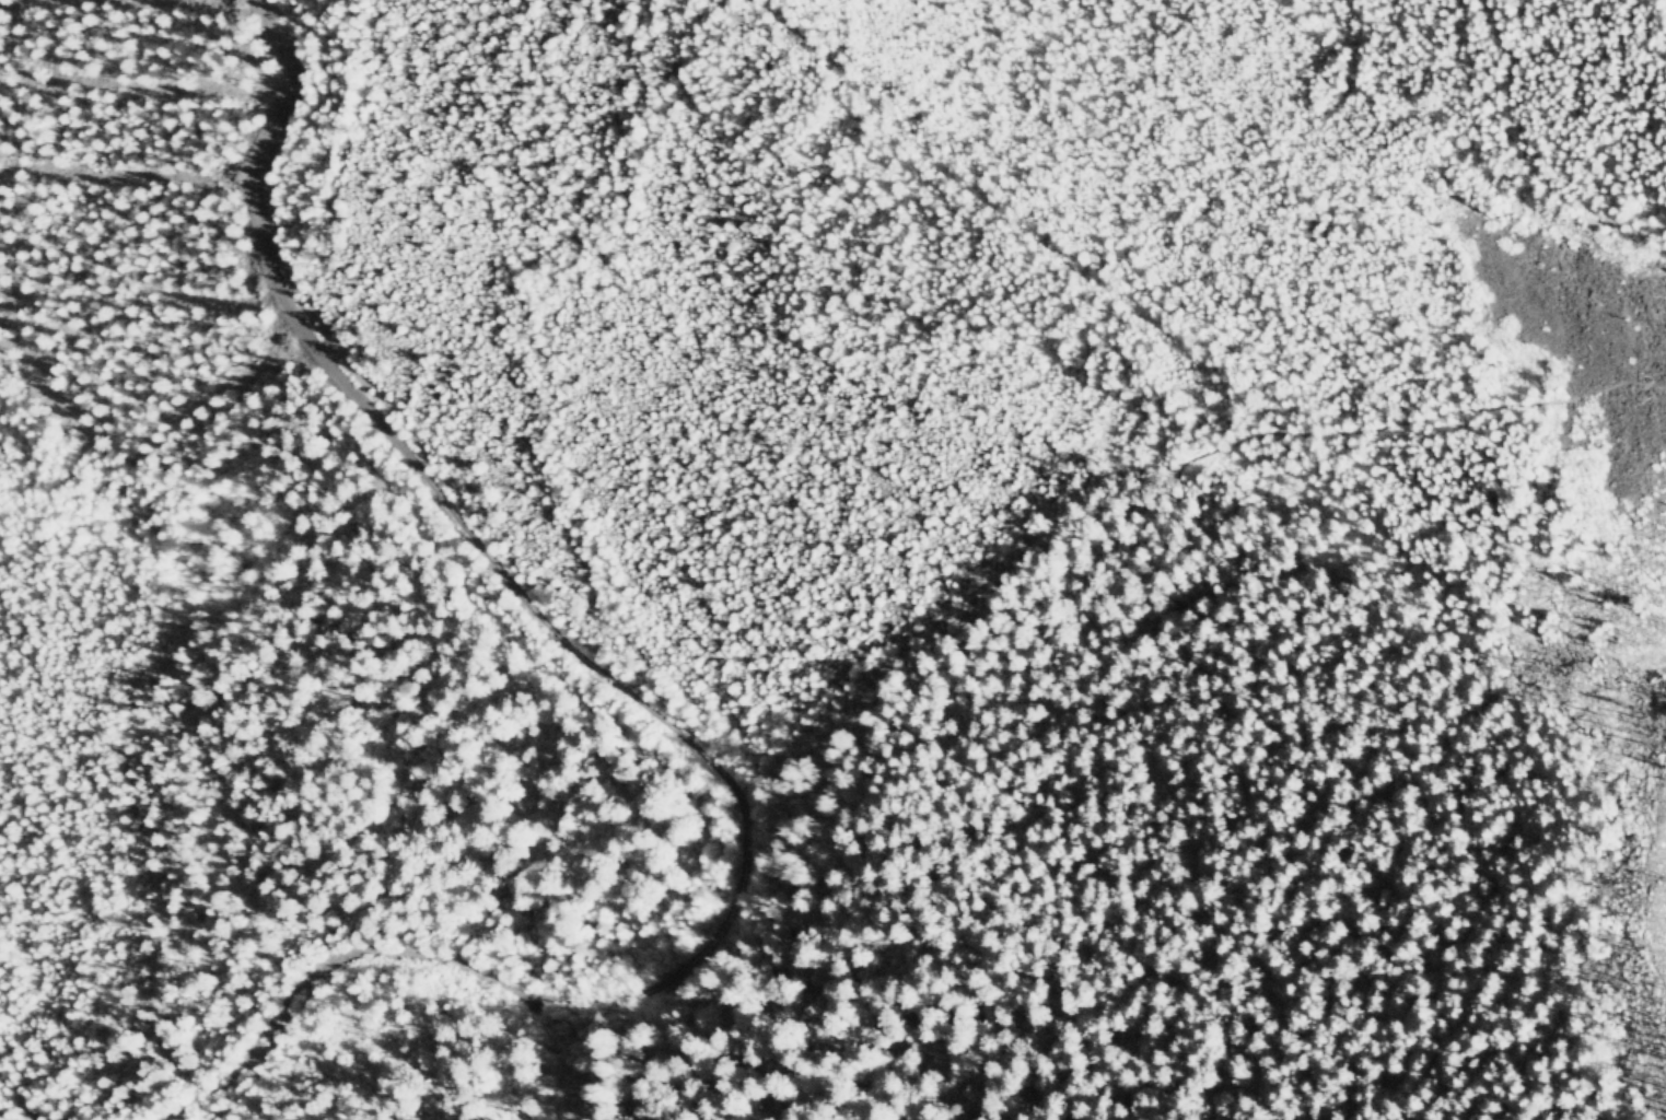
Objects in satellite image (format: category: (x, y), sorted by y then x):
road: (1380, 621)
road: (631, 700)
road: (194, 1095)

